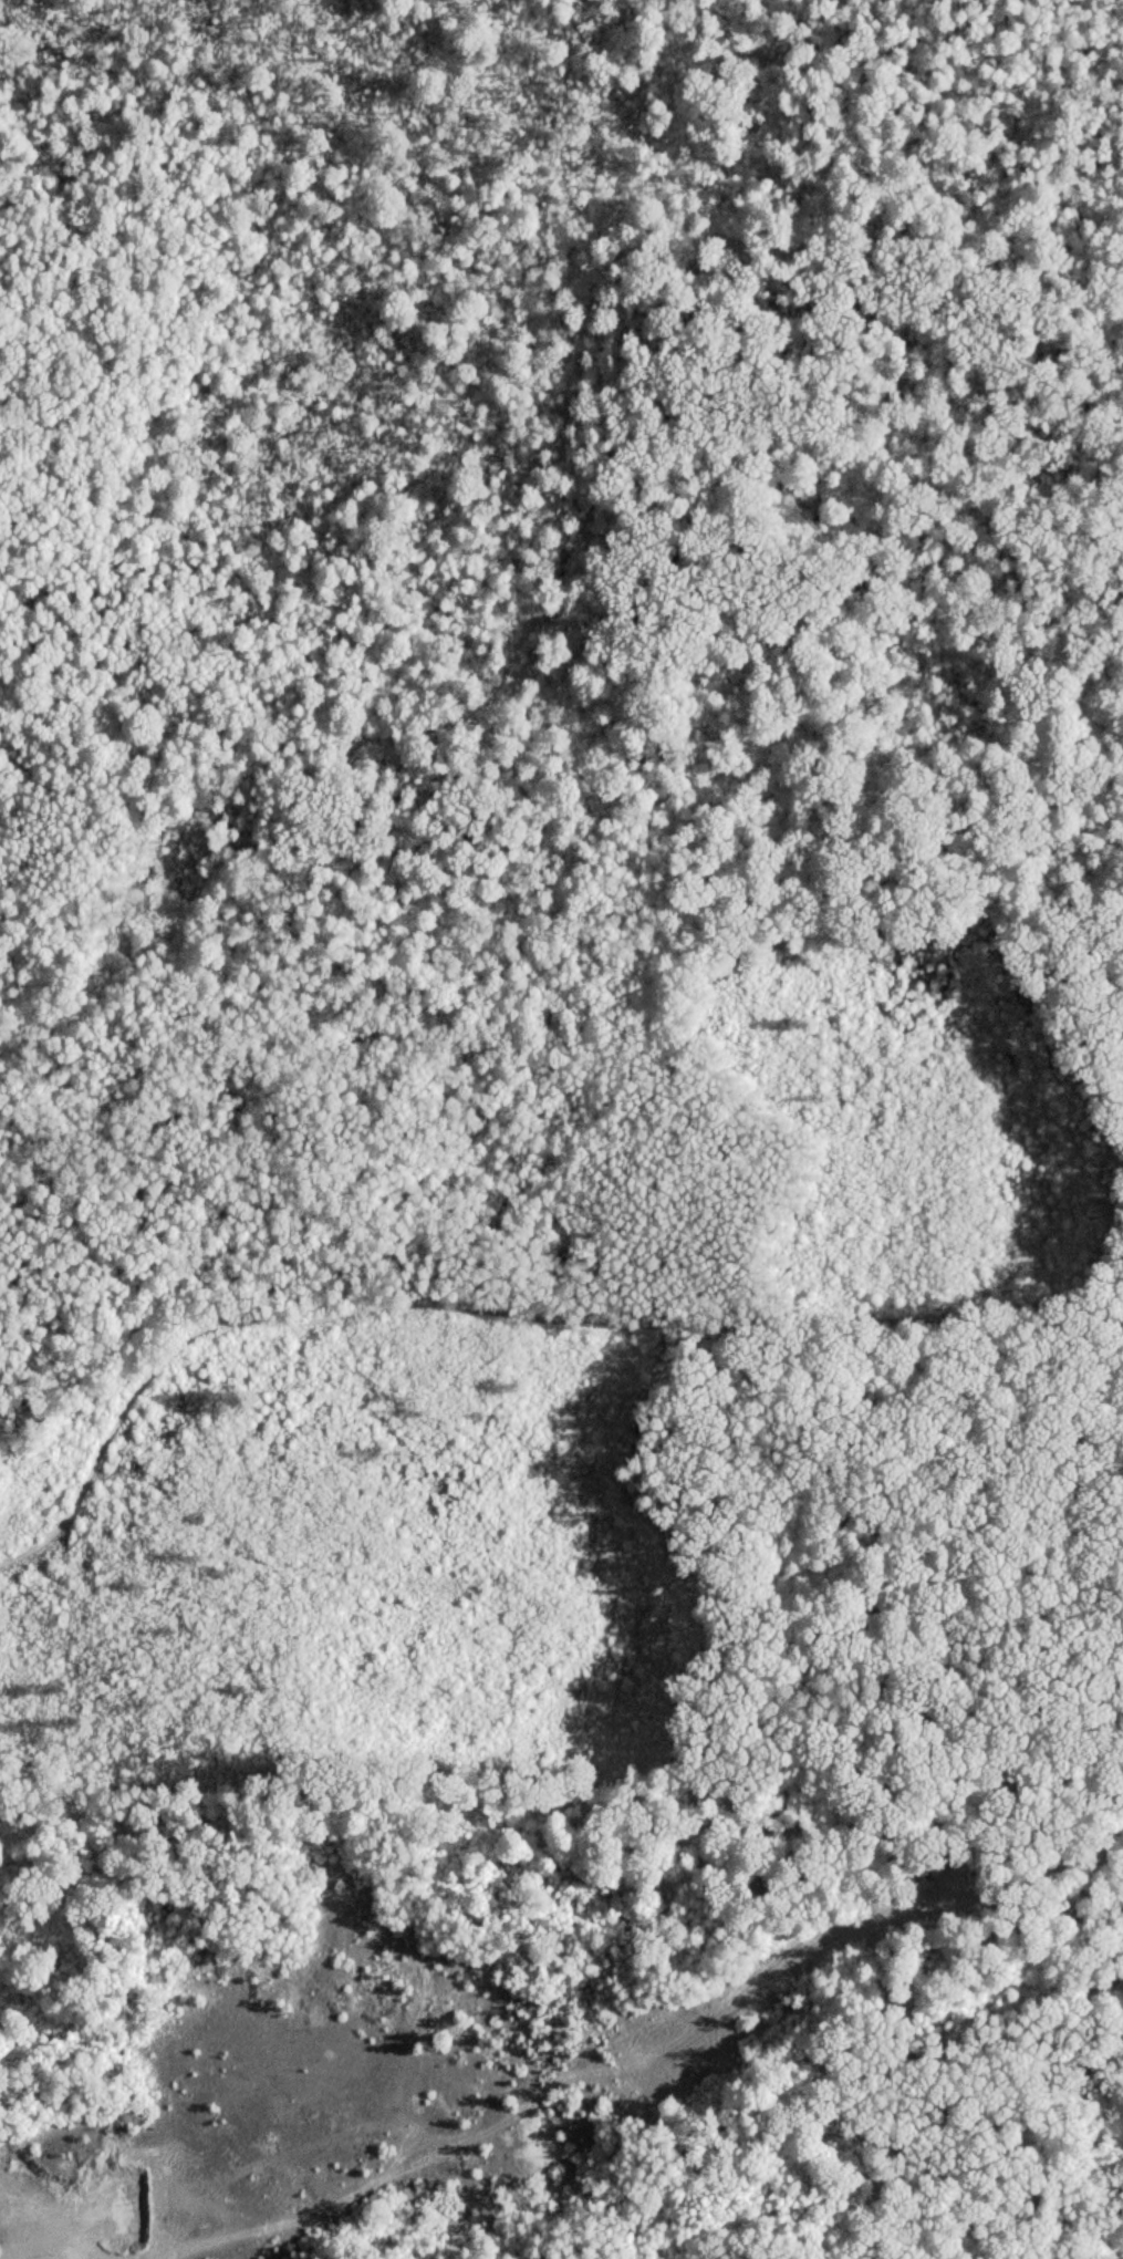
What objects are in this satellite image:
road: (509, 1338)

